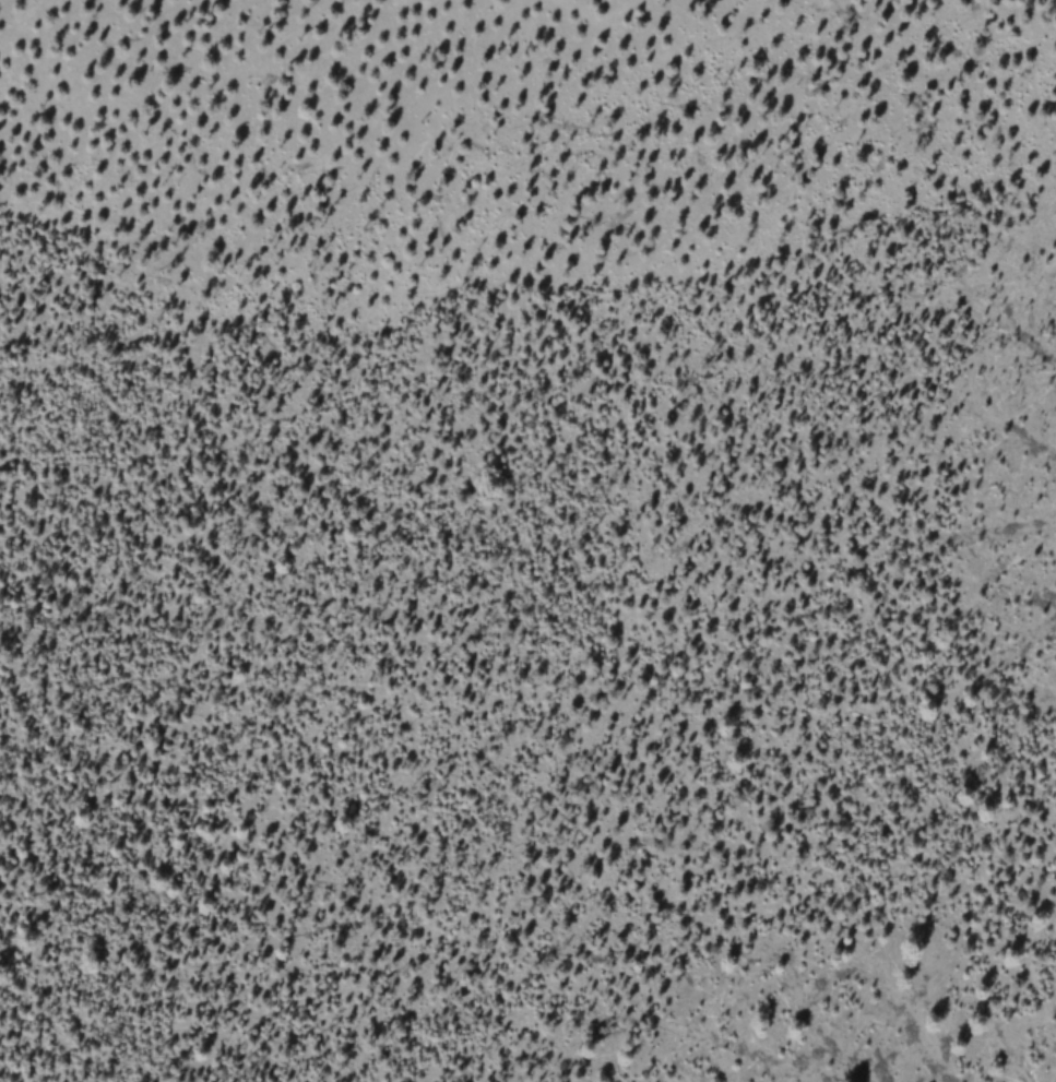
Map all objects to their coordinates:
road: (370, 36)
road: (10, 66)

